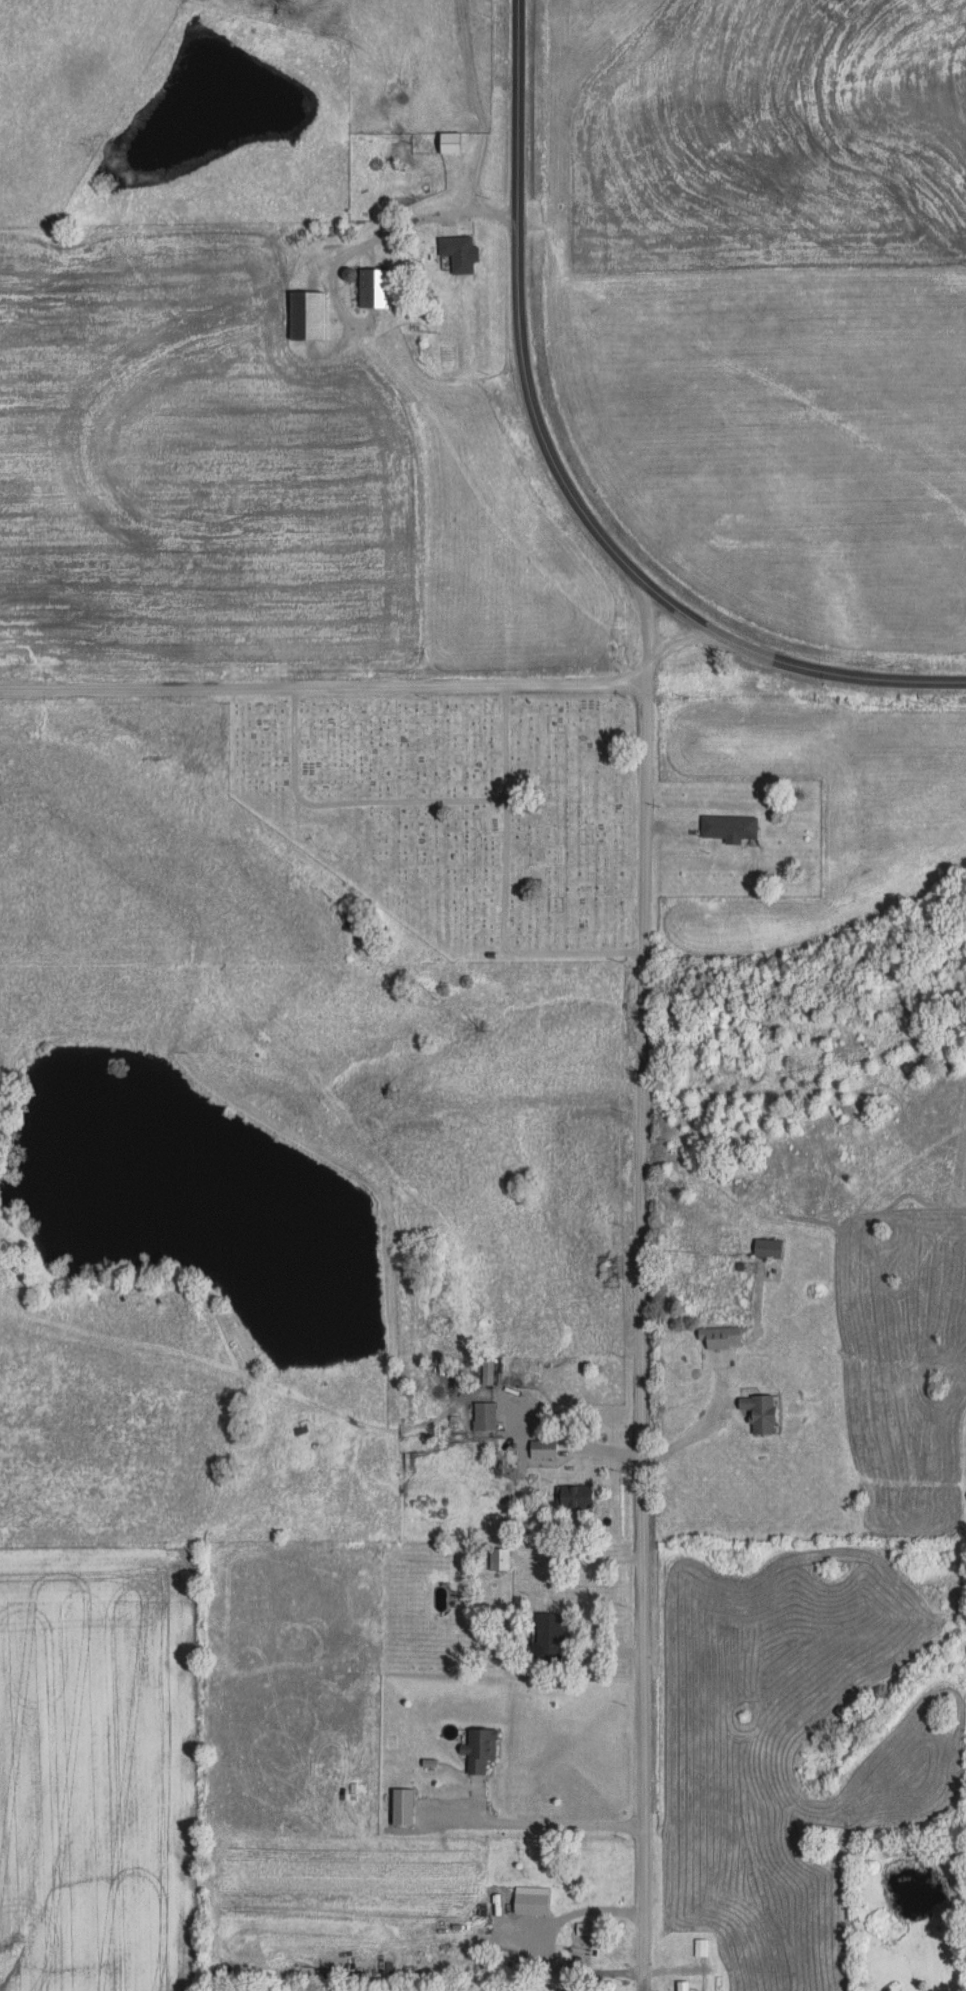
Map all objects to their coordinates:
building: (447, 142)
building: (457, 254)
building: (372, 289)
building: (303, 316)
road: (547, 442)
road: (649, 633)
road: (680, 640)
road: (930, 681)
road: (323, 685)
park: (458, 812)
building: (725, 826)
road: (641, 1122)
building: (765, 1248)
building: (717, 1337)
building: (485, 1370)
building: (755, 1413)
building: (481, 1416)
building: (540, 1449)
building: (572, 1497)
building: (496, 1559)
building: (547, 1635)
building: (477, 1749)
road: (641, 1778)
building: (400, 1807)
building: (528, 1904)
building: (587, 1955)

